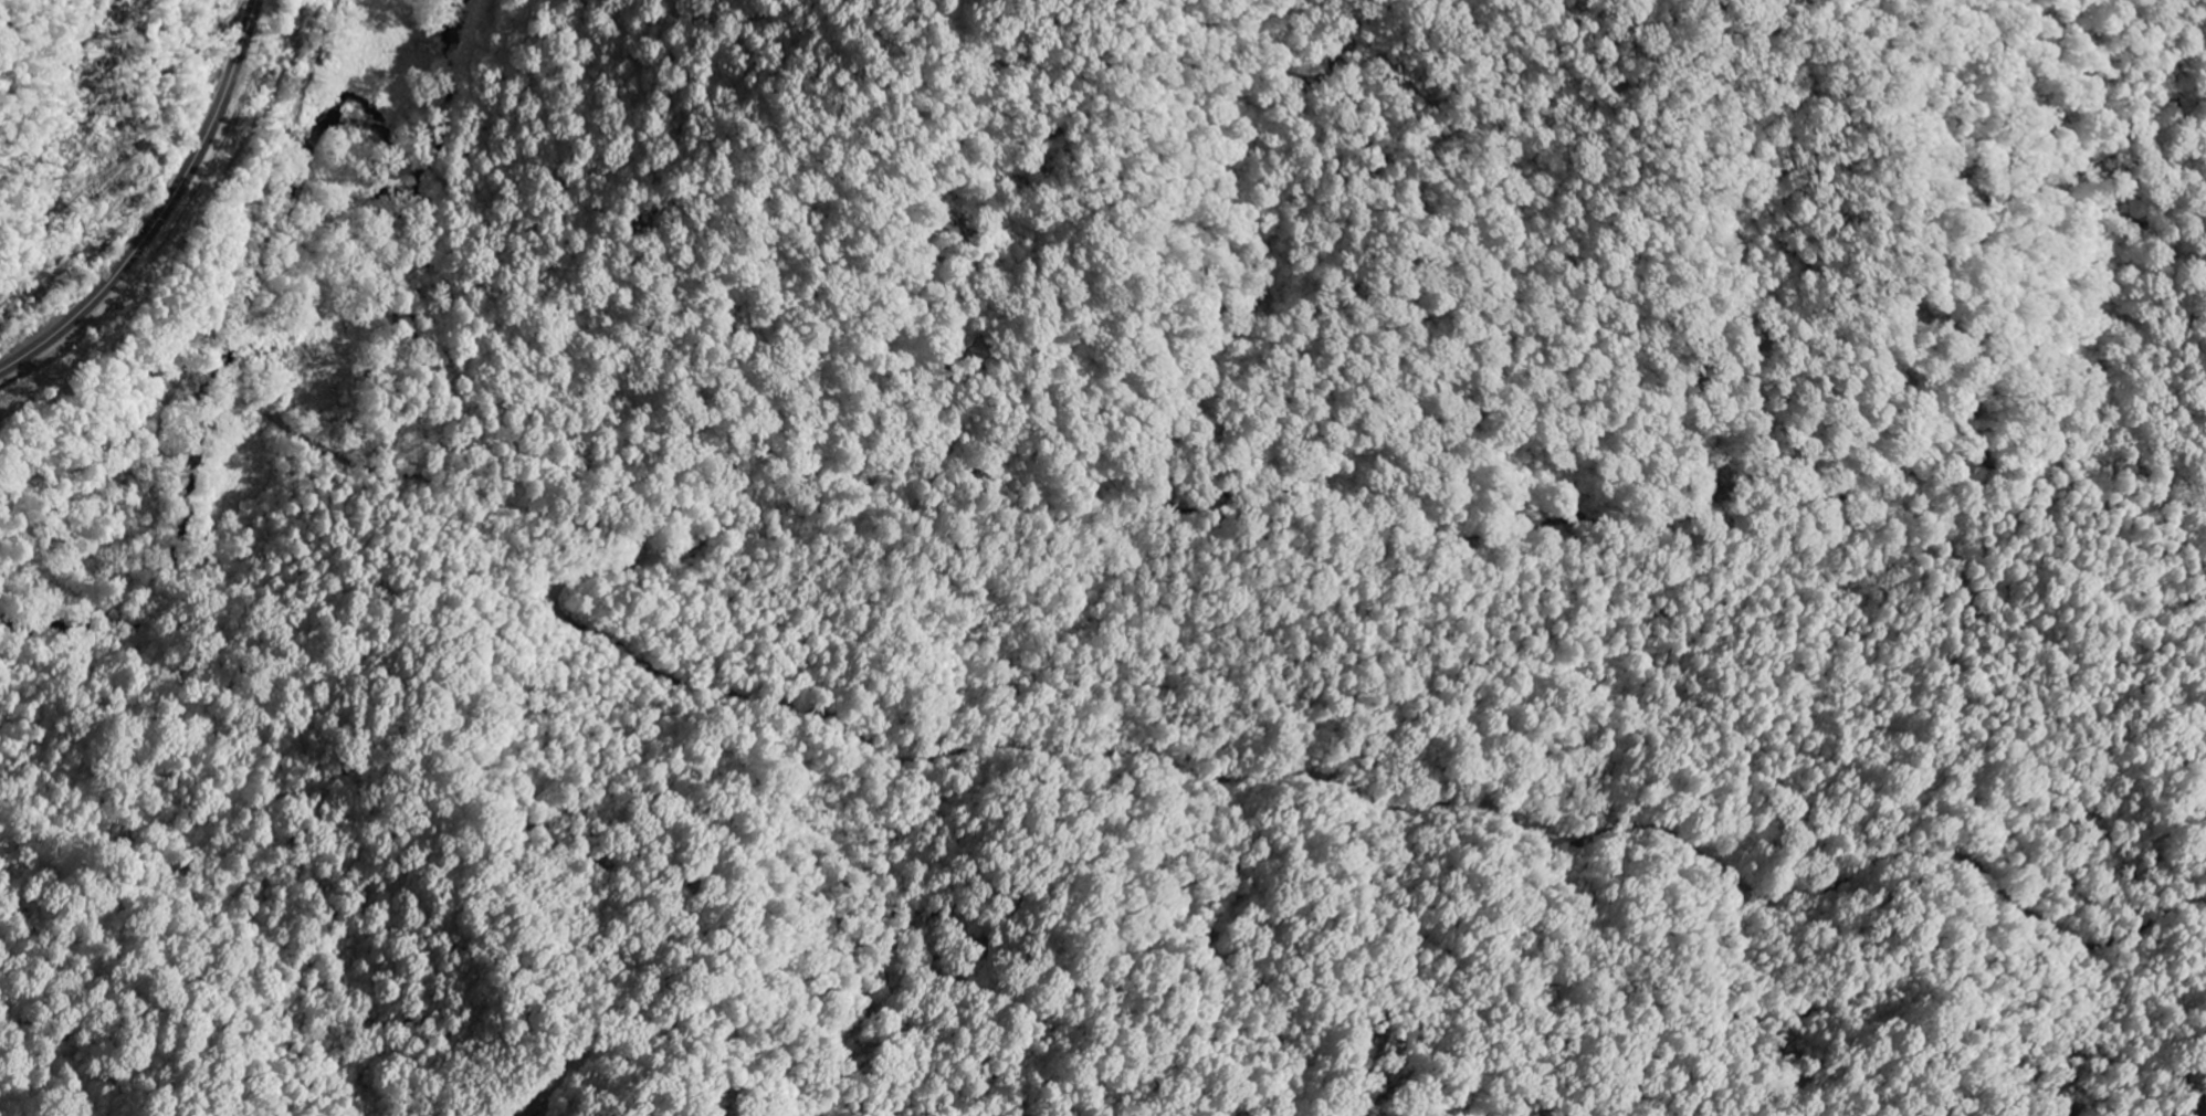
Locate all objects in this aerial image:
road: (162, 210)

